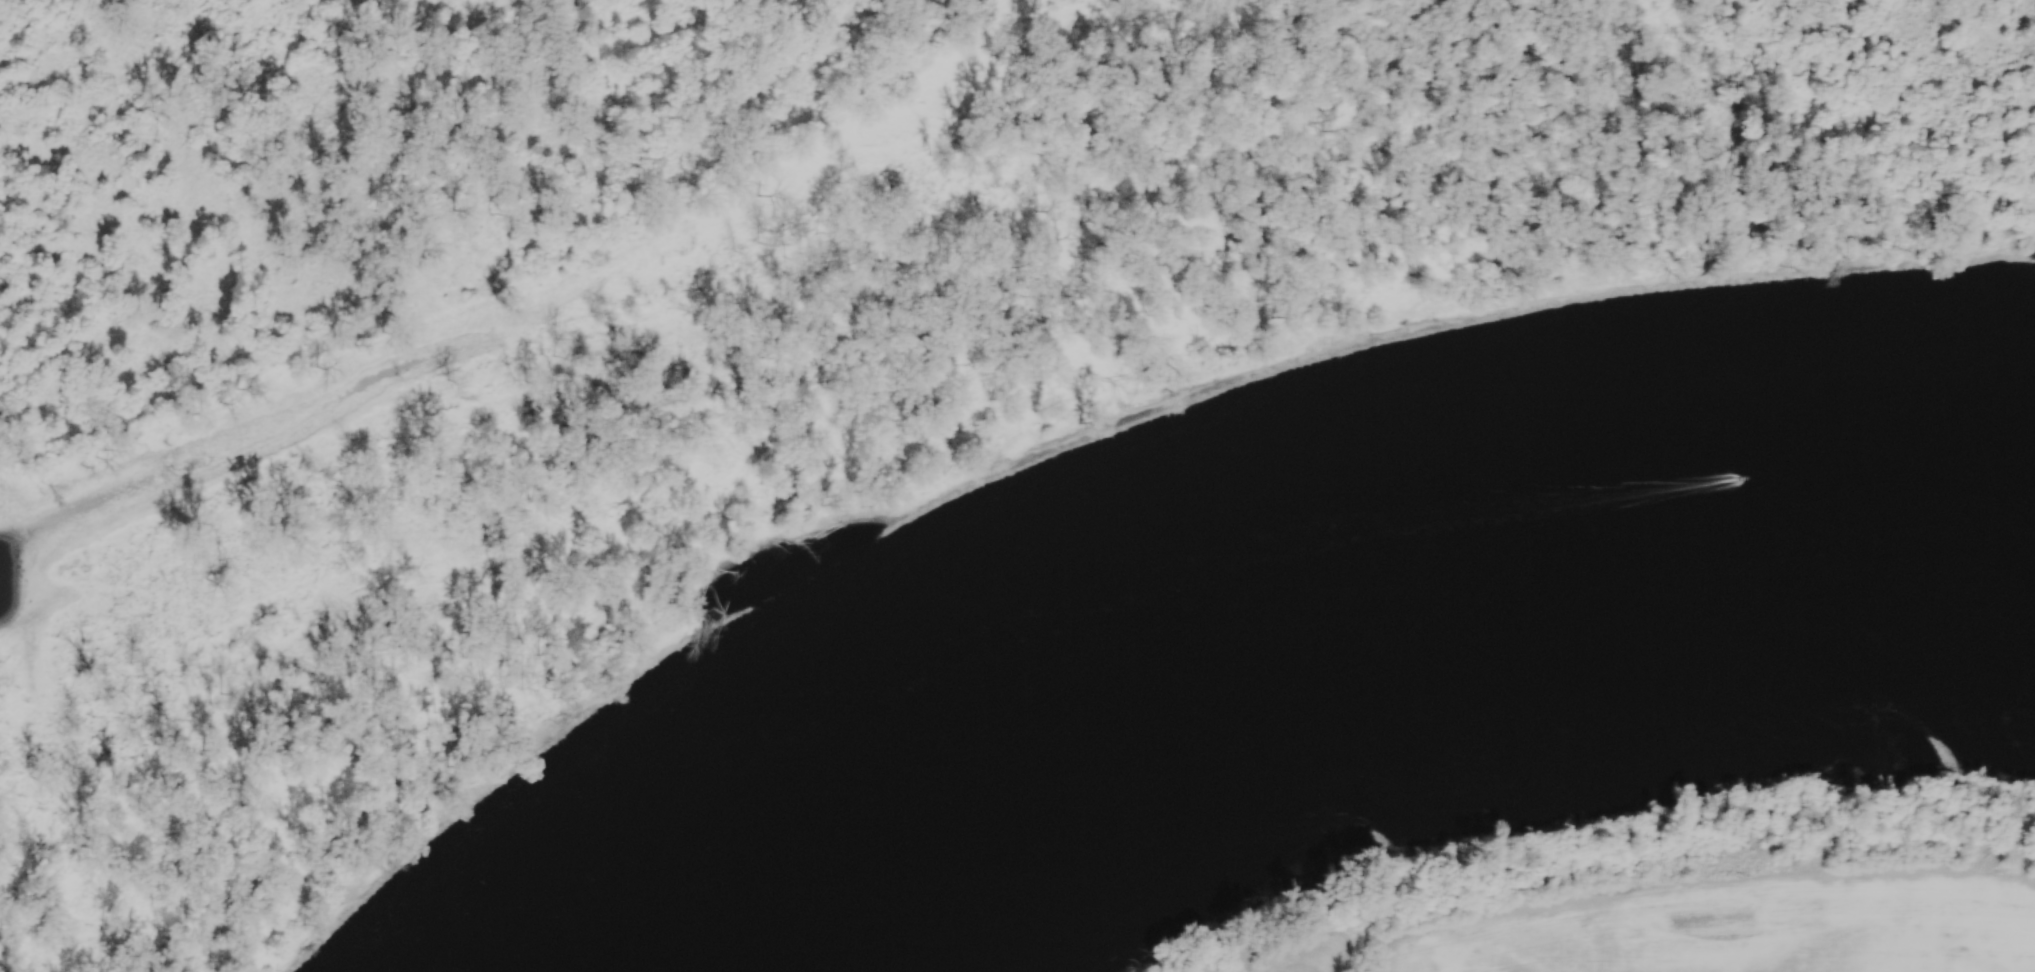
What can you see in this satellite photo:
road: (23, 464)
river: (1321, 652)

